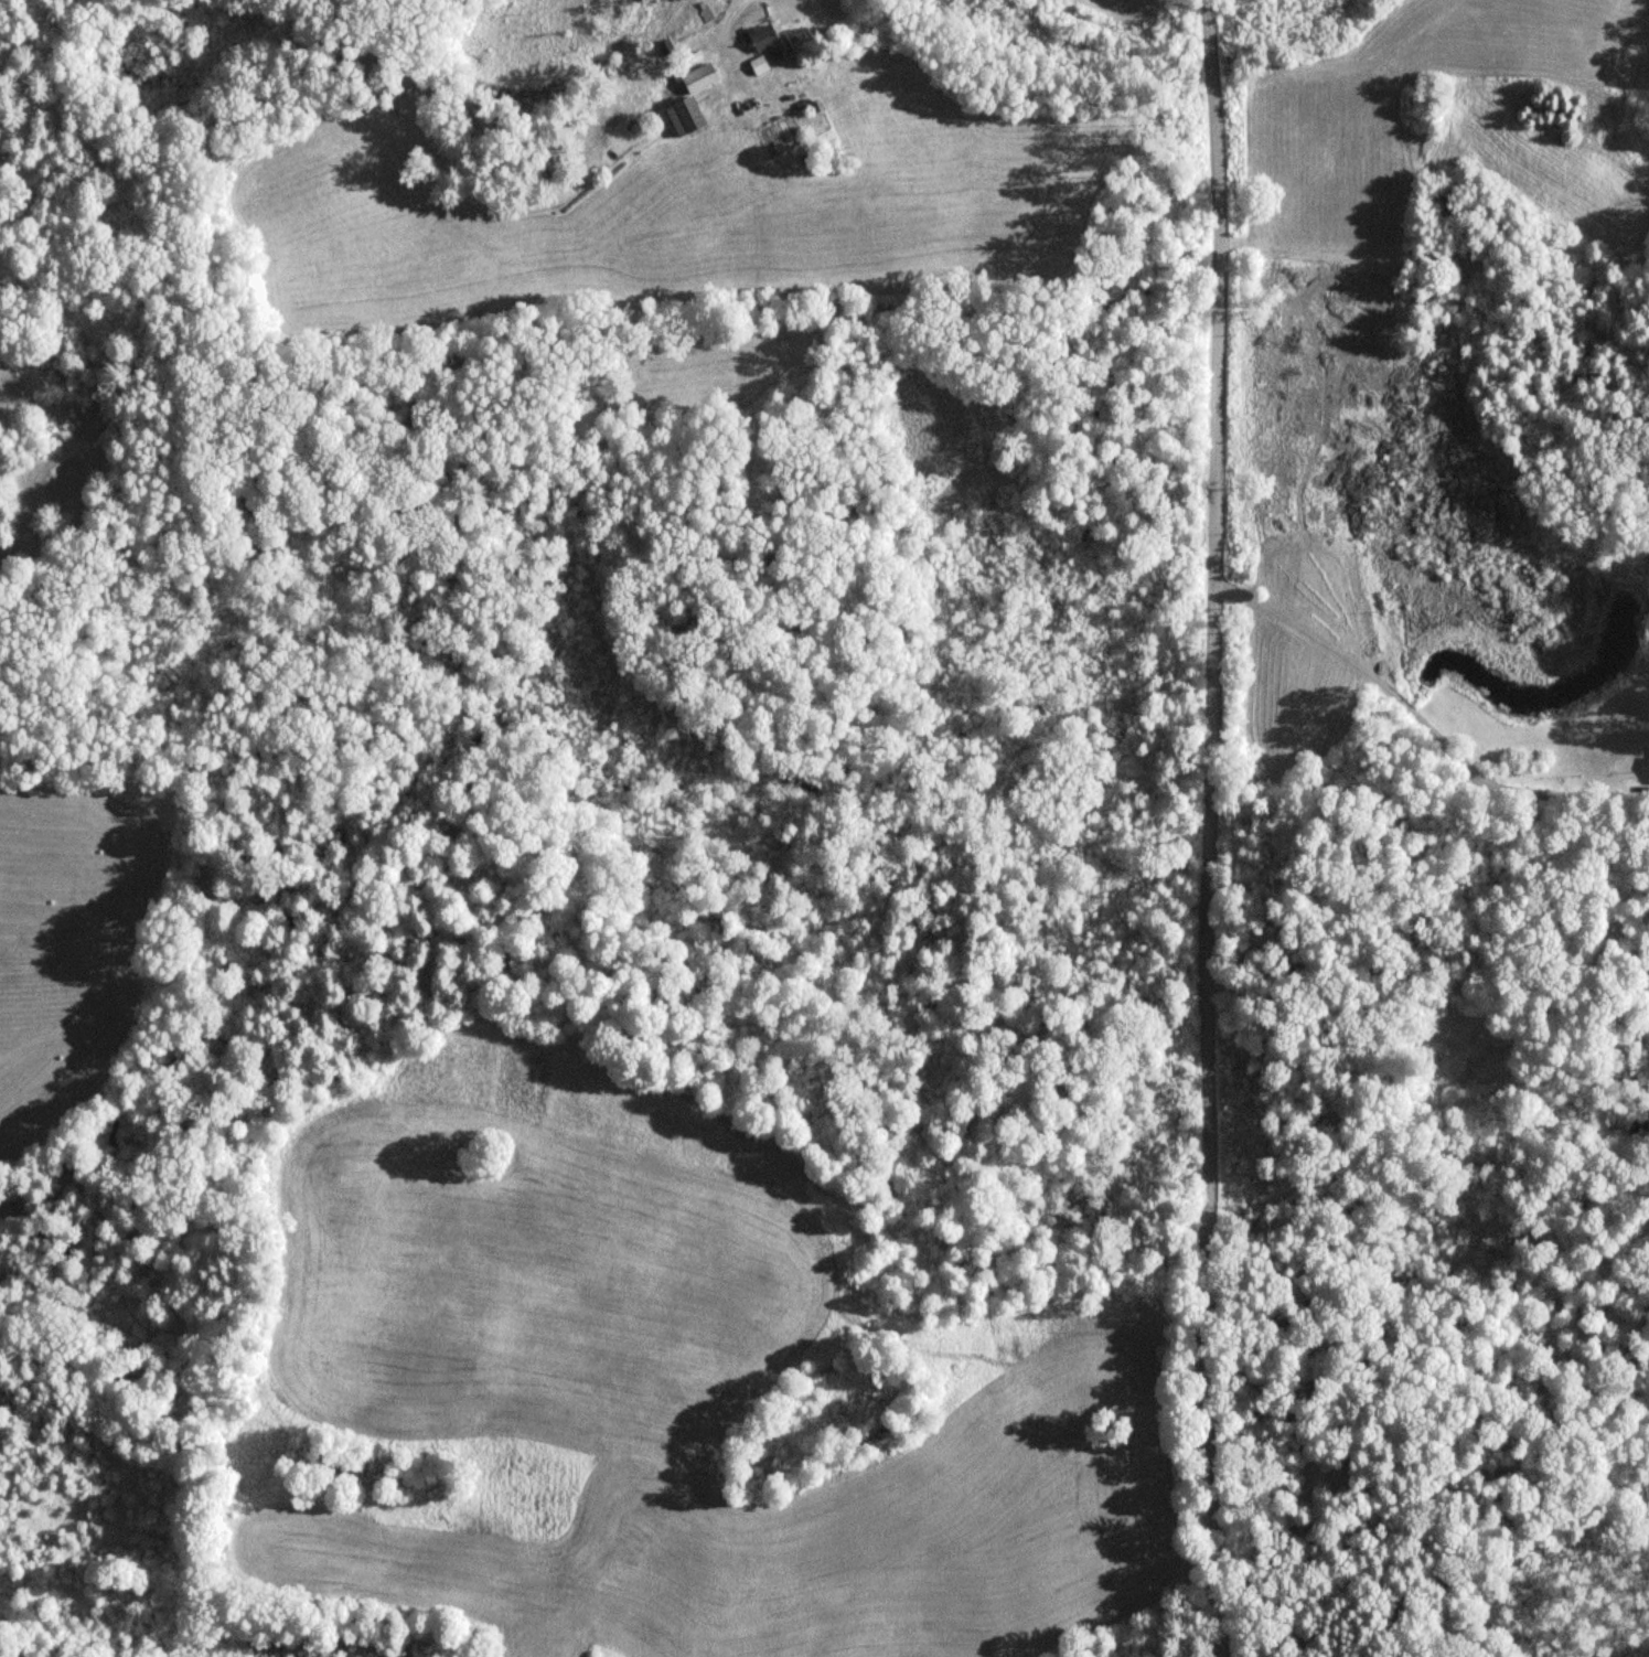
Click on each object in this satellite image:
building: (762, 38)
building: (698, 78)
building: (684, 117)
road: (1213, 827)
building: (957, 1094)

